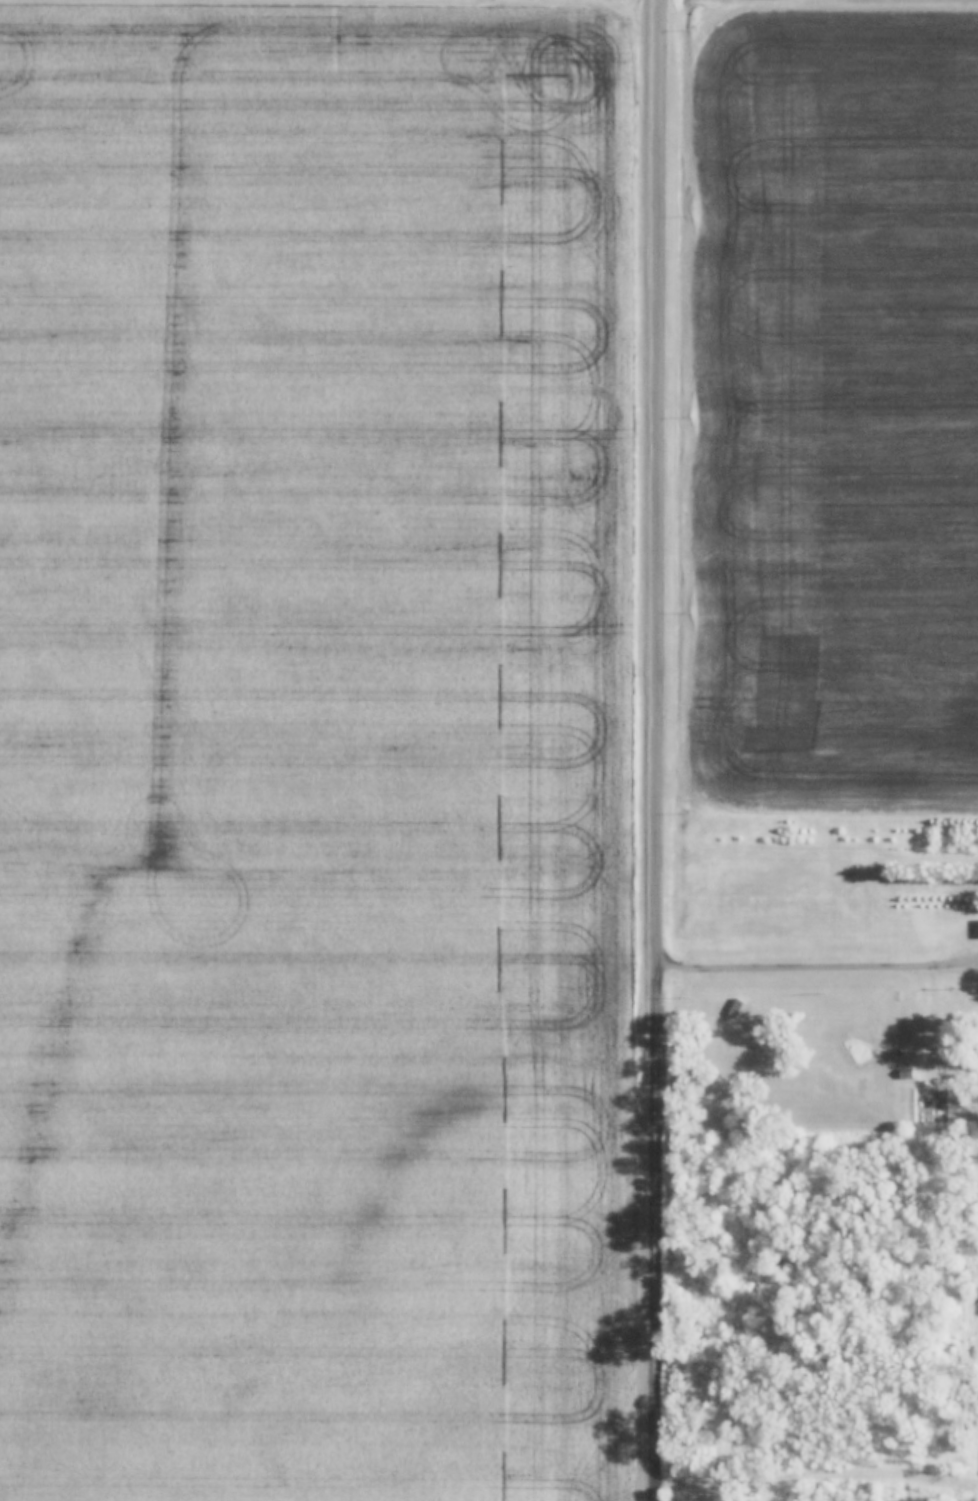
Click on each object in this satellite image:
road: (654, 483)
building: (977, 928)
road: (816, 966)
building: (737, 1008)
road: (651, 1233)

